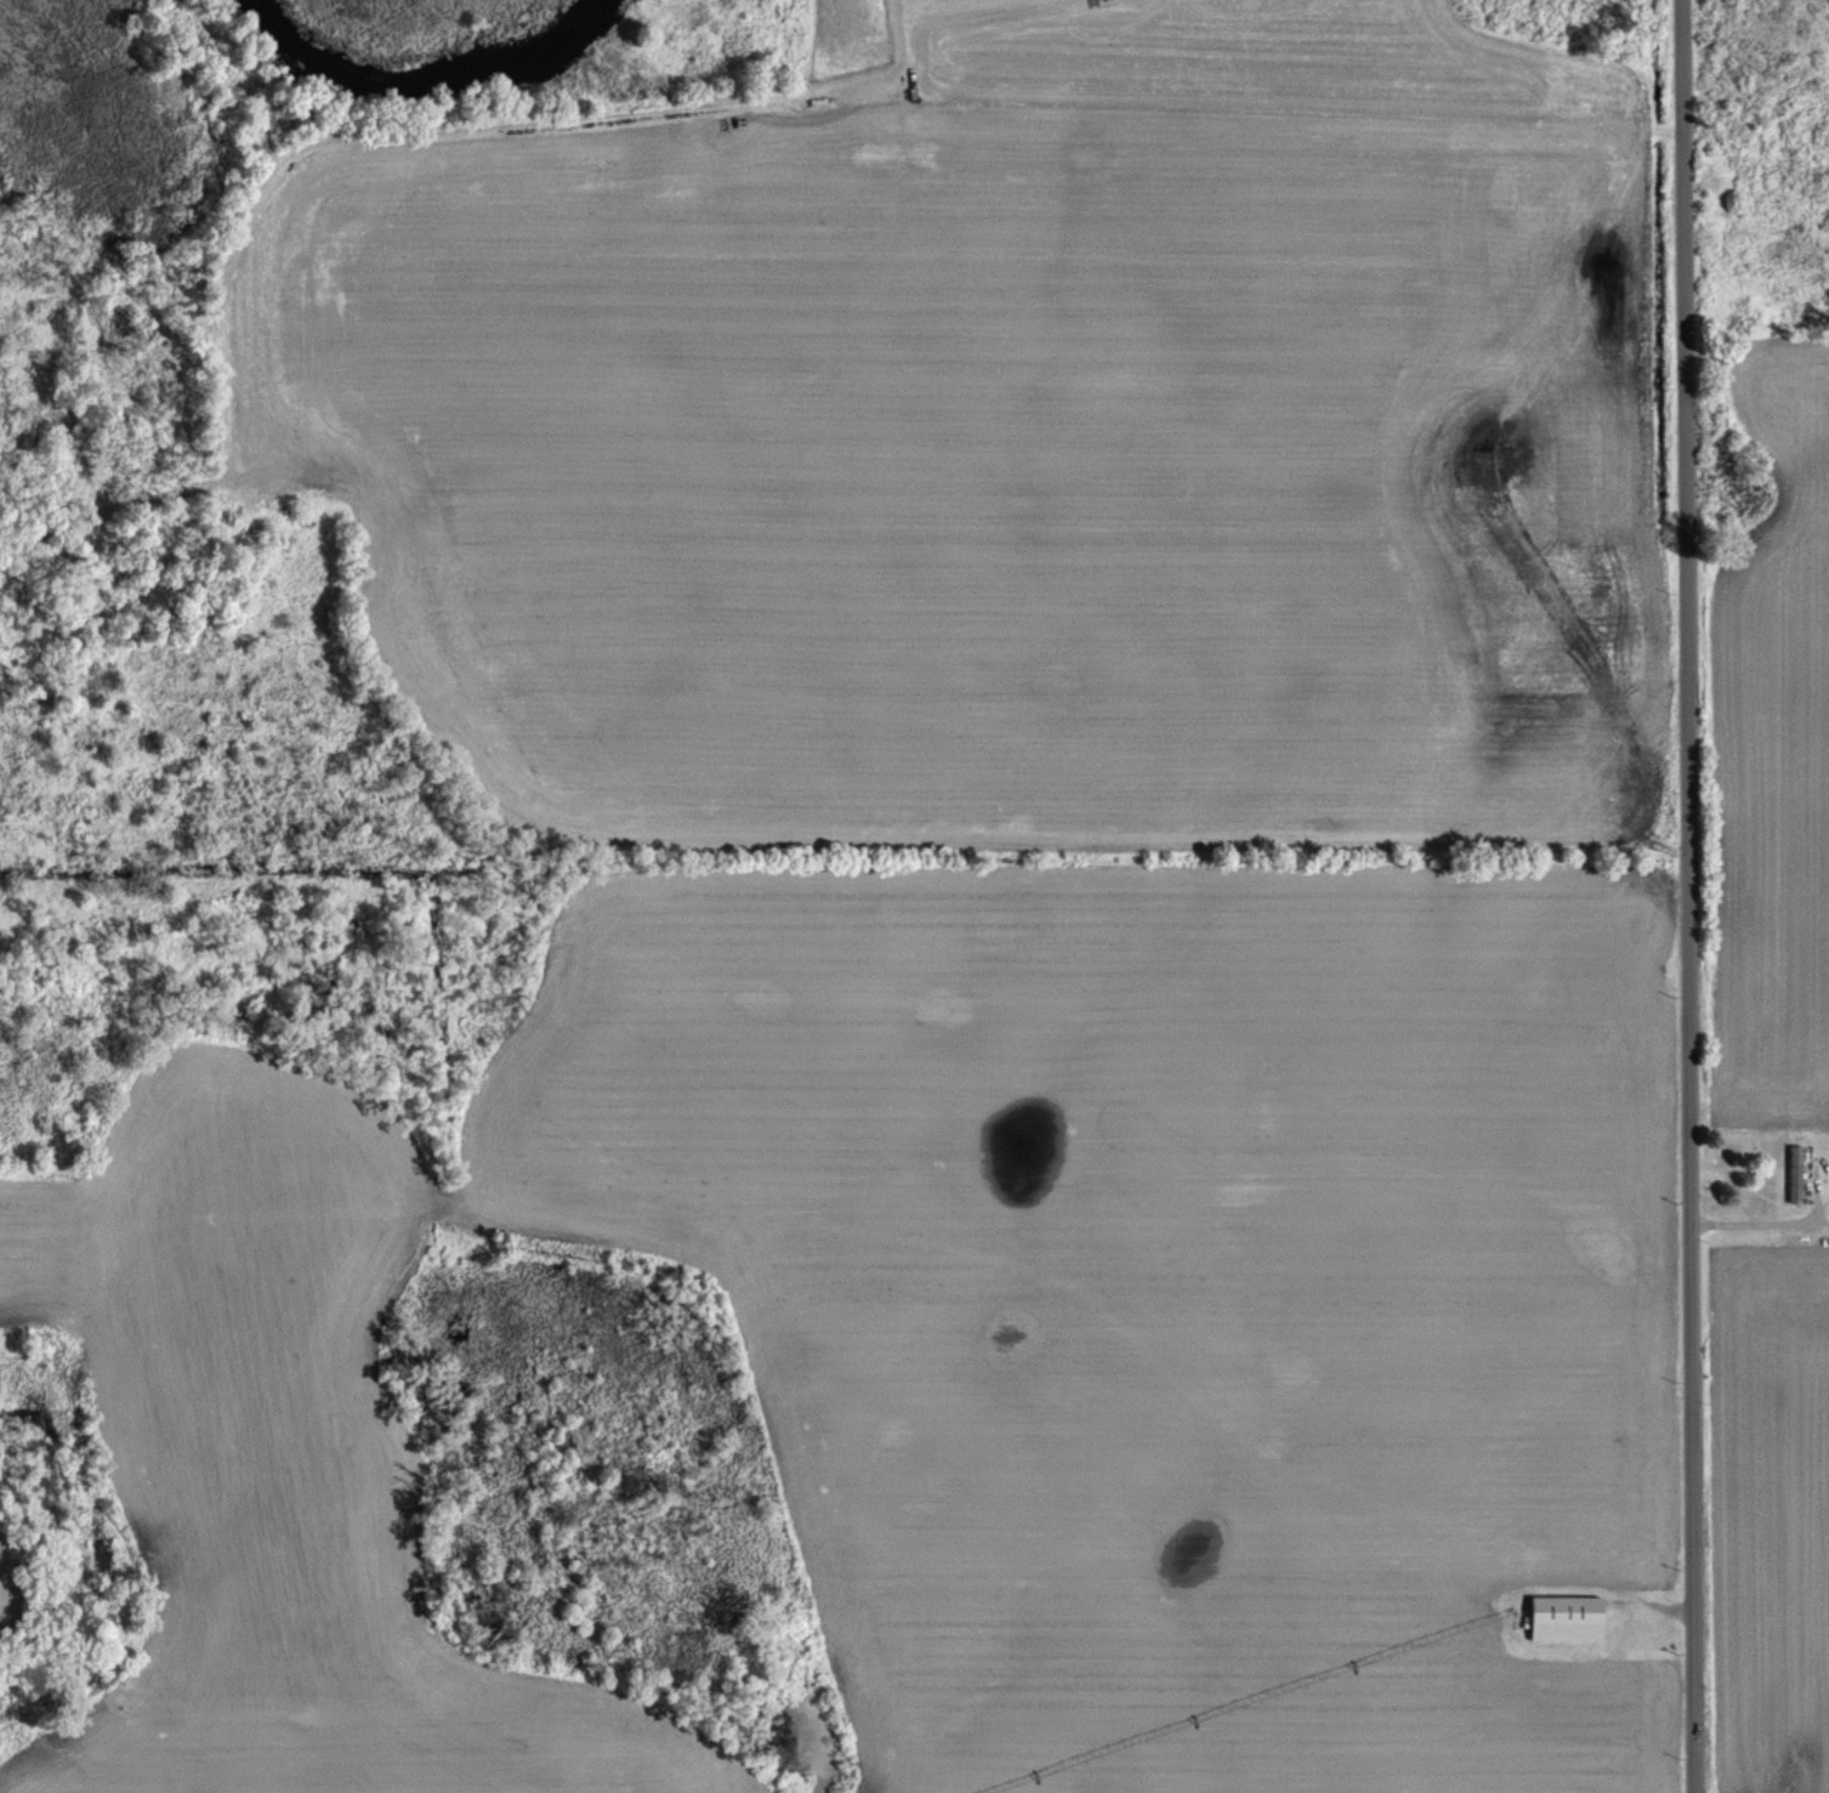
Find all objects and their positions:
river: (421, 84)
road: (1686, 896)
building: (1800, 1174)
building: (1568, 1617)

